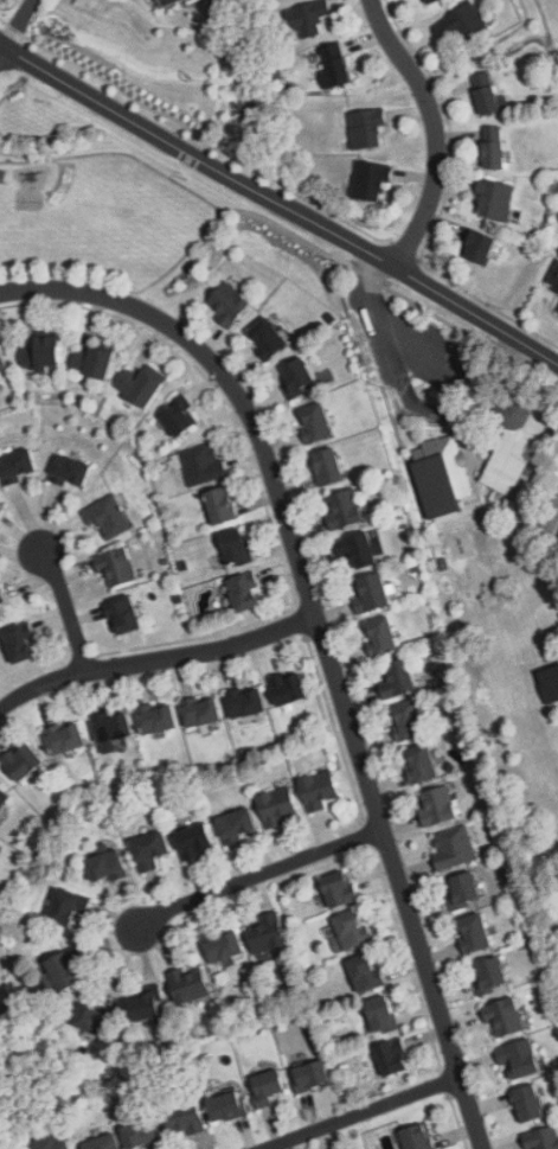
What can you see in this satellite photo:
building: (166, 2)
building: (431, 2)
building: (307, 18)
road: (4, 20)
building: (463, 20)
road: (20, 23)
road: (17, 30)
road: (211, 46)
road: (2, 47)
road: (482, 49)
building: (338, 62)
building: (486, 92)
building: (364, 126)
road: (436, 130)
road: (207, 142)
building: (495, 145)
road: (118, 153)
building: (2, 173)
building: (370, 177)
building: (496, 196)
road: (278, 203)
road: (280, 224)
building: (481, 244)
road: (404, 249)
building: (554, 276)
building: (229, 299)
road: (485, 302)
building: (268, 333)
road: (421, 350)
building: (44, 351)
building: (1, 360)
building: (96, 360)
building: (299, 371)
road: (402, 376)
building: (145, 382)
building: (180, 415)
building: (318, 417)
building: (513, 439)
building: (206, 458)
building: (17, 461)
building: (327, 461)
building: (70, 467)
building: (442, 471)
building: (222, 502)
building: (345, 504)
building: (1, 510)
building: (113, 510)
building: (552, 517)
building: (236, 543)
building: (361, 545)
building: (121, 564)
building: (373, 587)
building: (244, 588)
building: (2, 595)
road: (68, 609)
building: (126, 611)
building: (1, 617)
building: (384, 630)
road: (321, 639)
building: (21, 640)
road: (155, 658)
building: (398, 672)
building: (549, 681)
building: (289, 687)
building: (248, 701)
building: (201, 710)
building: (159, 716)
building: (411, 717)
building: (115, 724)
building: (69, 738)
building: (424, 760)
building: (24, 761)
building: (321, 787)
building: (2, 797)
building: (442, 800)
building: (280, 803)
building: (237, 822)
building: (193, 837)
building: (457, 843)
building: (152, 844)
building: (108, 866)
road: (256, 876)
building: (467, 886)
building: (338, 887)
building: (66, 905)
building: (348, 927)
building: (477, 930)
building: (268, 933)
building: (226, 941)
building: (63, 968)
building: (364, 970)
building: (489, 970)
building: (193, 985)
building: (147, 1004)
building: (381, 1013)
building: (508, 1015)
building: (94, 1016)
building: (391, 1054)
building: (522, 1055)
building: (312, 1073)
building: (269, 1086)
building: (530, 1100)
building: (227, 1105)
road: (364, 1113)
building: (187, 1119)
building: (143, 1131)
building: (417, 1135)
building: (546, 1136)
building: (53, 1142)
building: (104, 1142)

